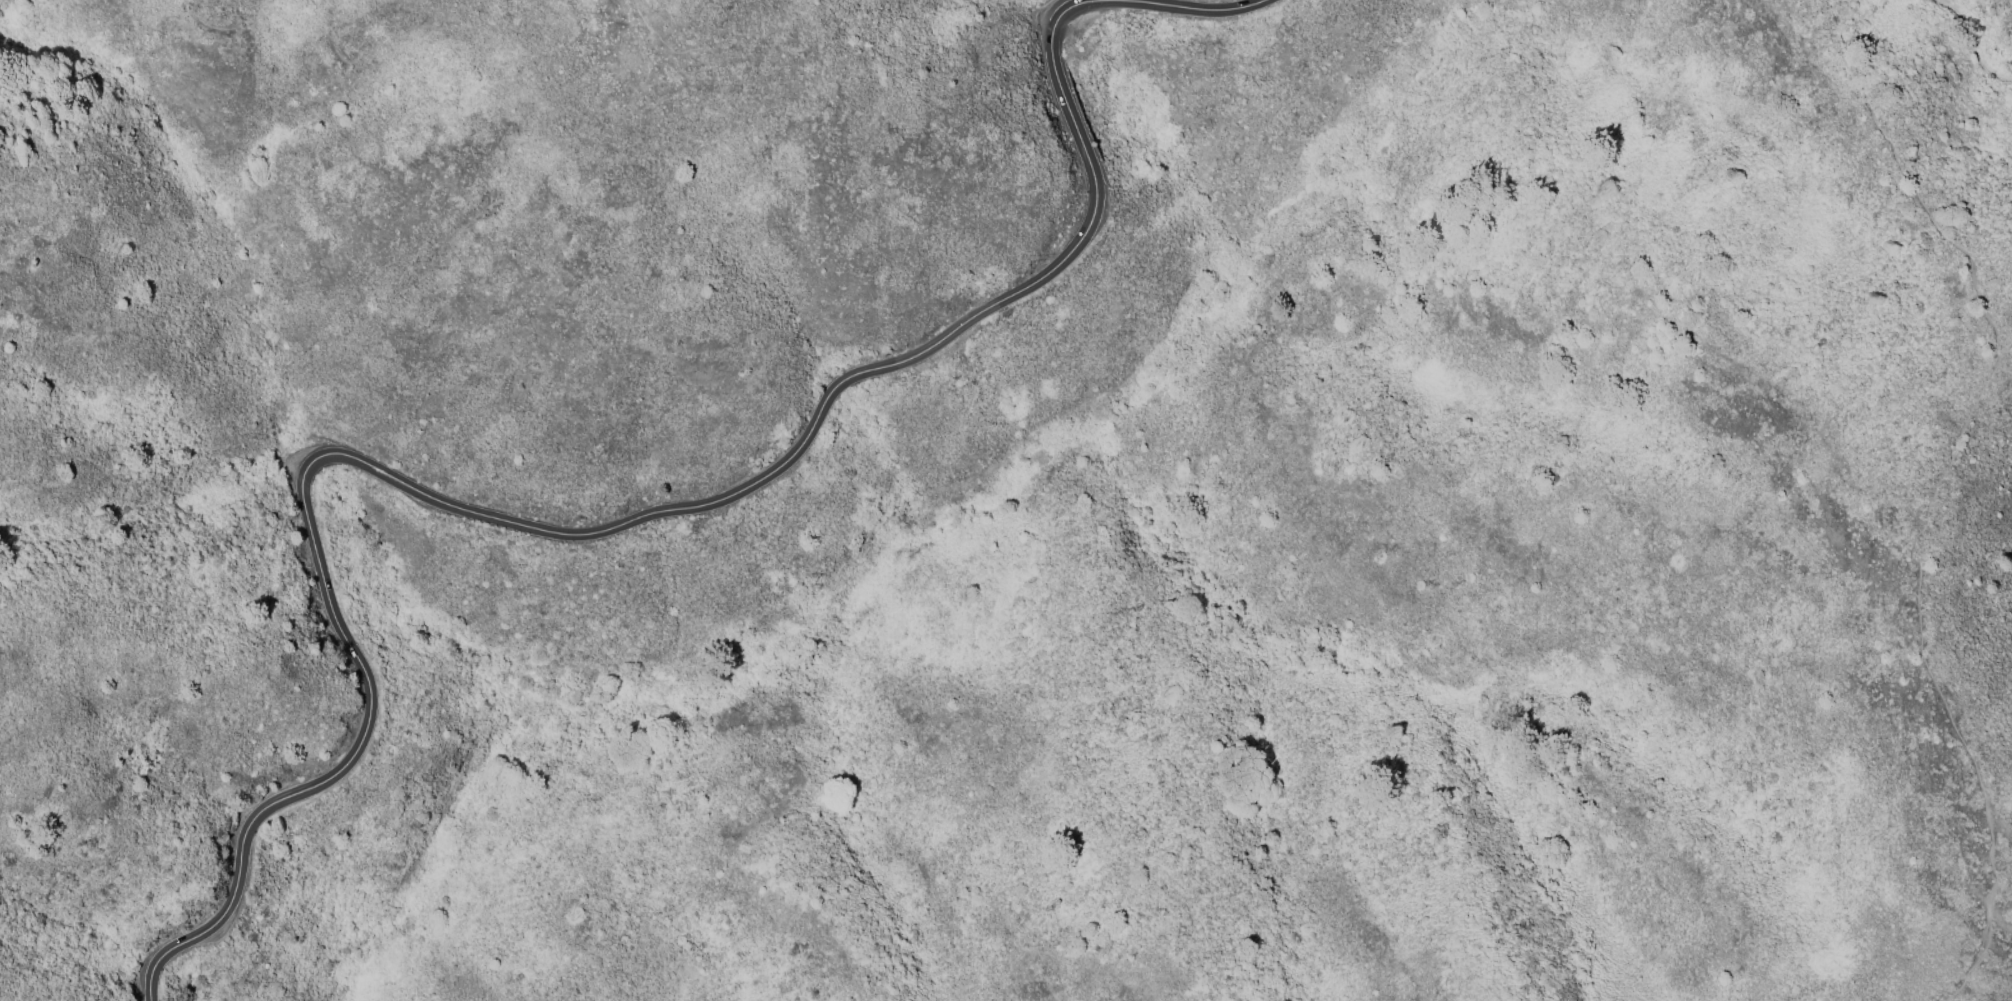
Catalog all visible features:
road: (1971, 39)
road: (1932, 490)
road: (659, 511)
road: (153, 971)

